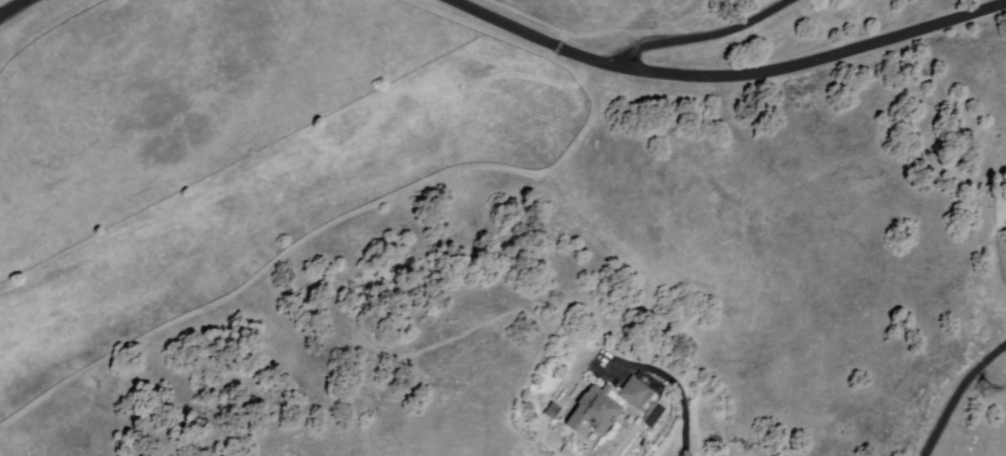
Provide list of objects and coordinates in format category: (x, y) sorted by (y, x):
road: (14, 8)
road: (704, 37)
road: (726, 78)
road: (676, 386)
building: (636, 393)
power tower: (991, 395)
road: (960, 396)
building: (596, 410)
building: (554, 411)

